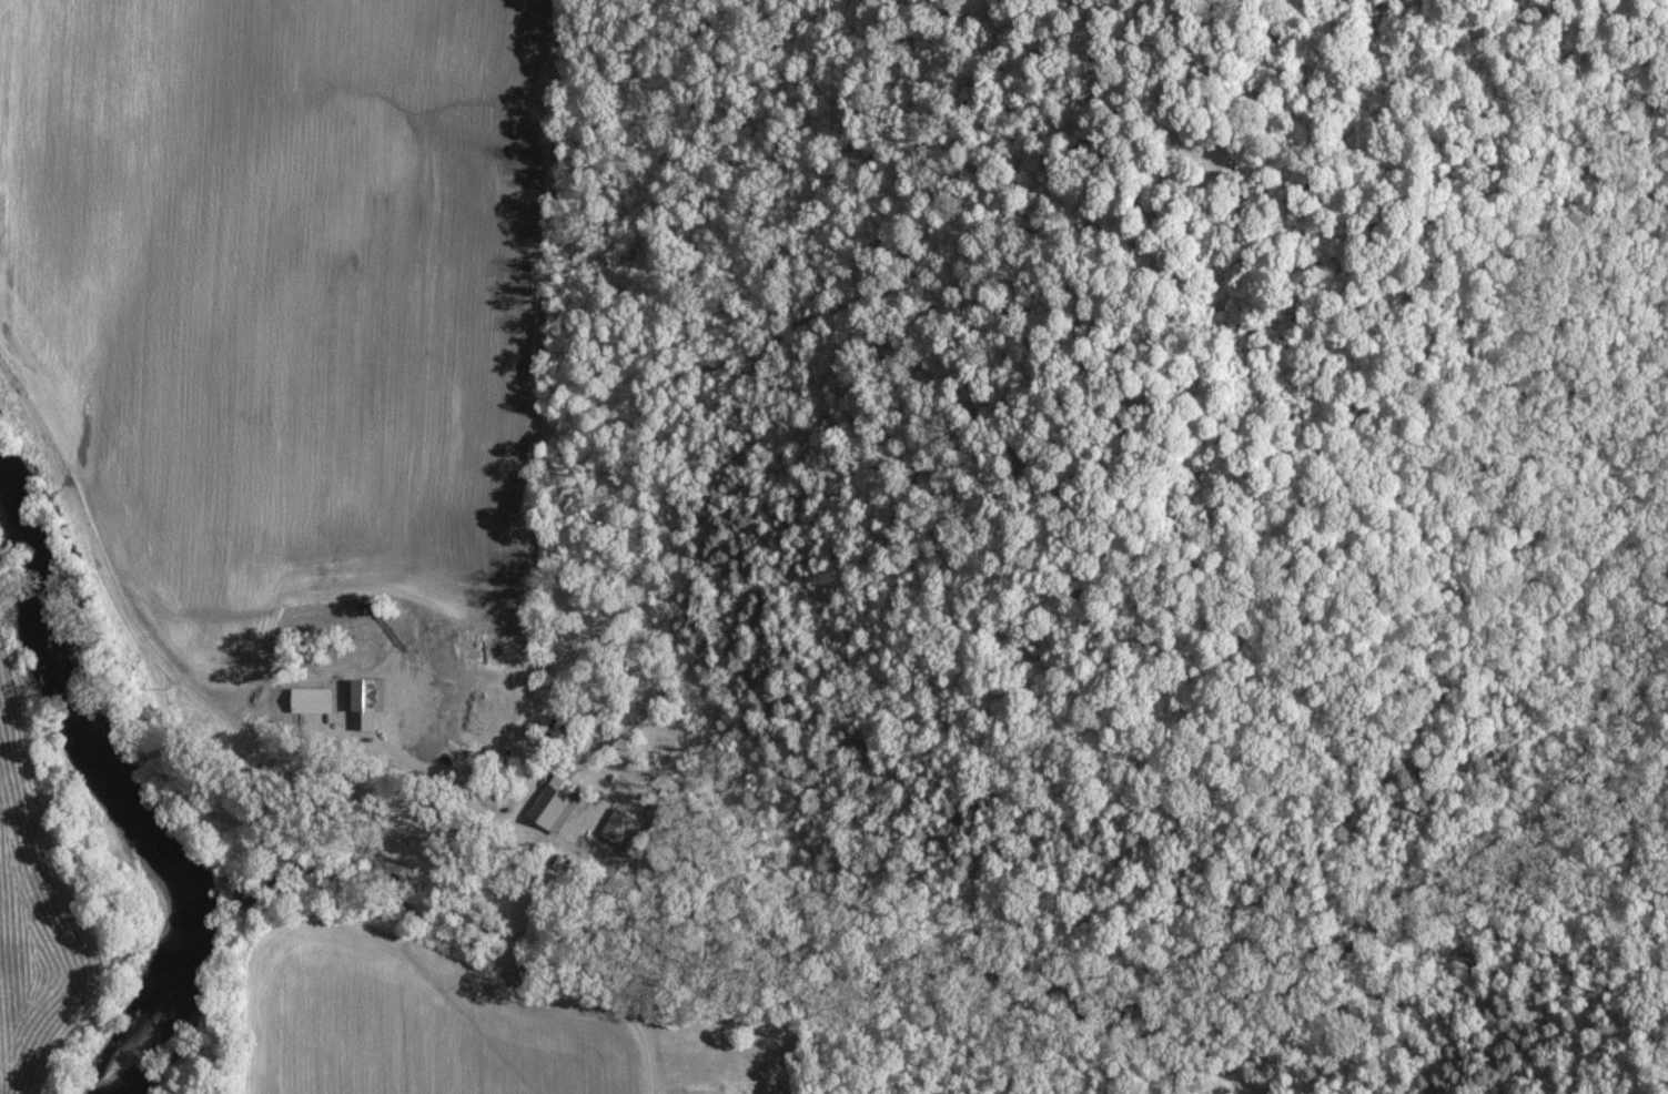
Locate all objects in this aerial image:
building: (316, 701)
building: (372, 702)
building: (559, 803)
building: (623, 828)

